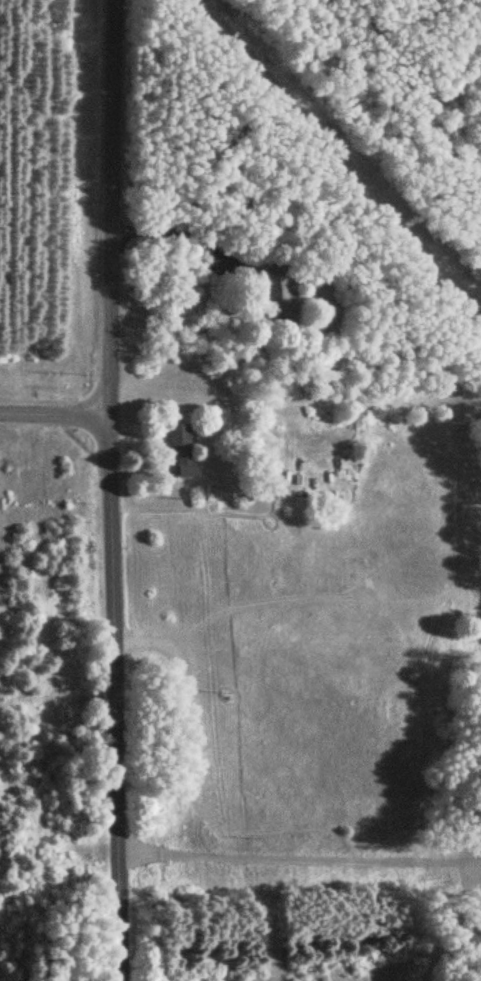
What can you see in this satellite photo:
road: (112, 205)
road: (178, 227)
building: (222, 268)
building: (279, 305)
road: (55, 411)
building: (181, 448)
road: (117, 696)

